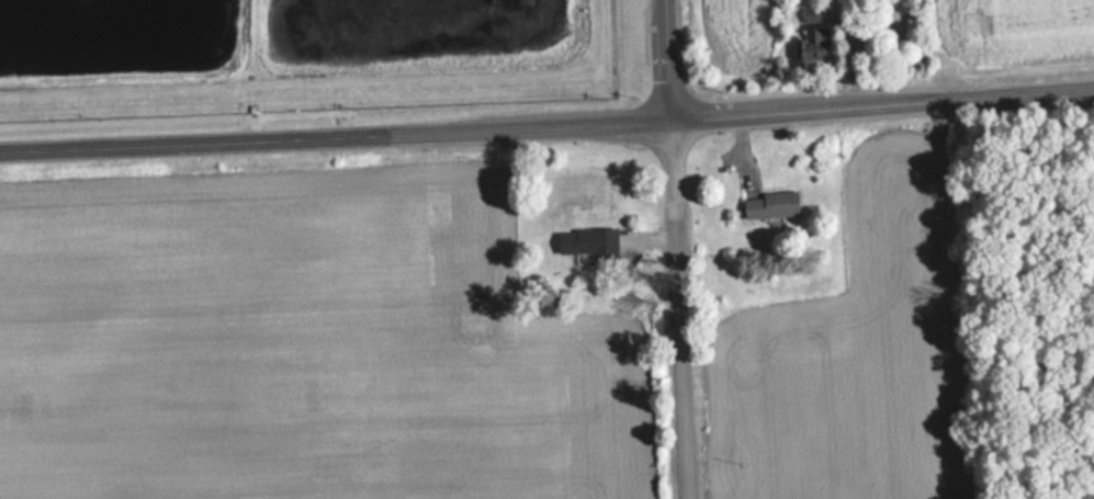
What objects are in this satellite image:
building: (812, 36)
road: (673, 58)
road: (546, 123)
building: (769, 204)
building: (587, 241)
road: (683, 308)

